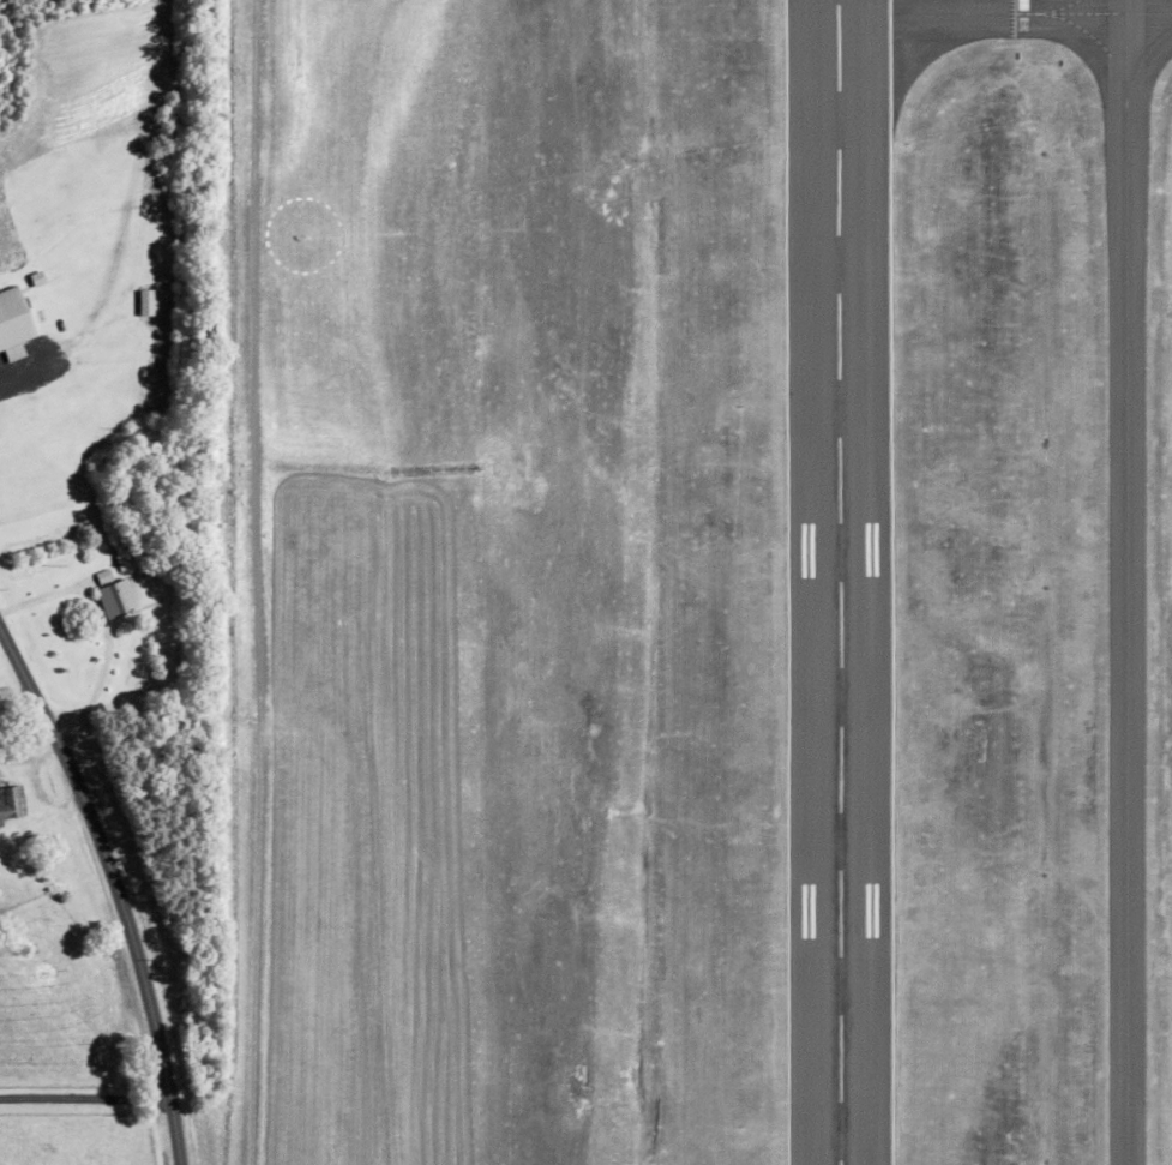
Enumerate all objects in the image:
airport taxiway: (1004, 14)
building: (146, 302)
road: (256, 582)
airport runway: (837, 582)
airport taxiway: (1125, 582)
building: (118, 599)
building: (12, 803)
road: (115, 885)
road: (66, 944)
road: (86, 1098)

